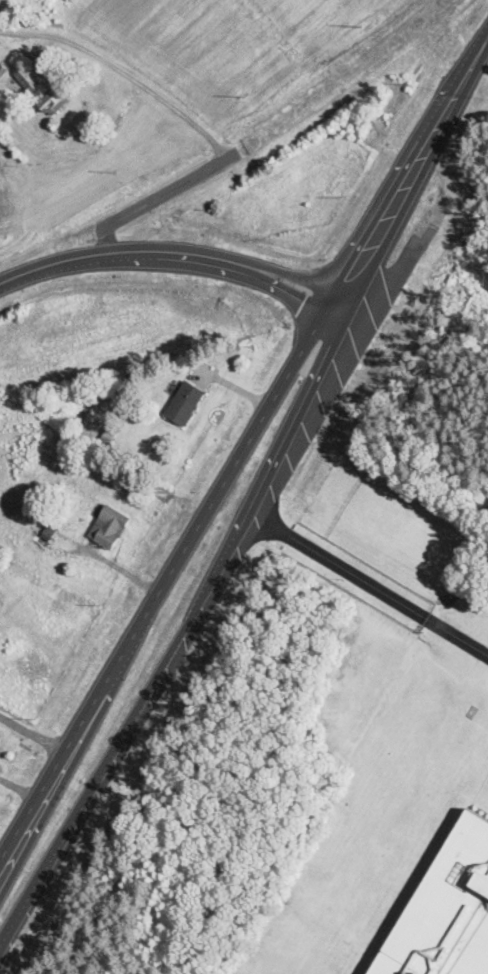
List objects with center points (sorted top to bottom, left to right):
road: (480, 48)
building: (42, 91)
road: (396, 177)
road: (412, 185)
road: (180, 253)
building: (184, 405)
road: (279, 464)
building: (108, 528)
building: (46, 537)
road: (164, 577)
road: (370, 587)
road: (160, 678)
road: (28, 737)
road: (61, 844)
building: (425, 965)

